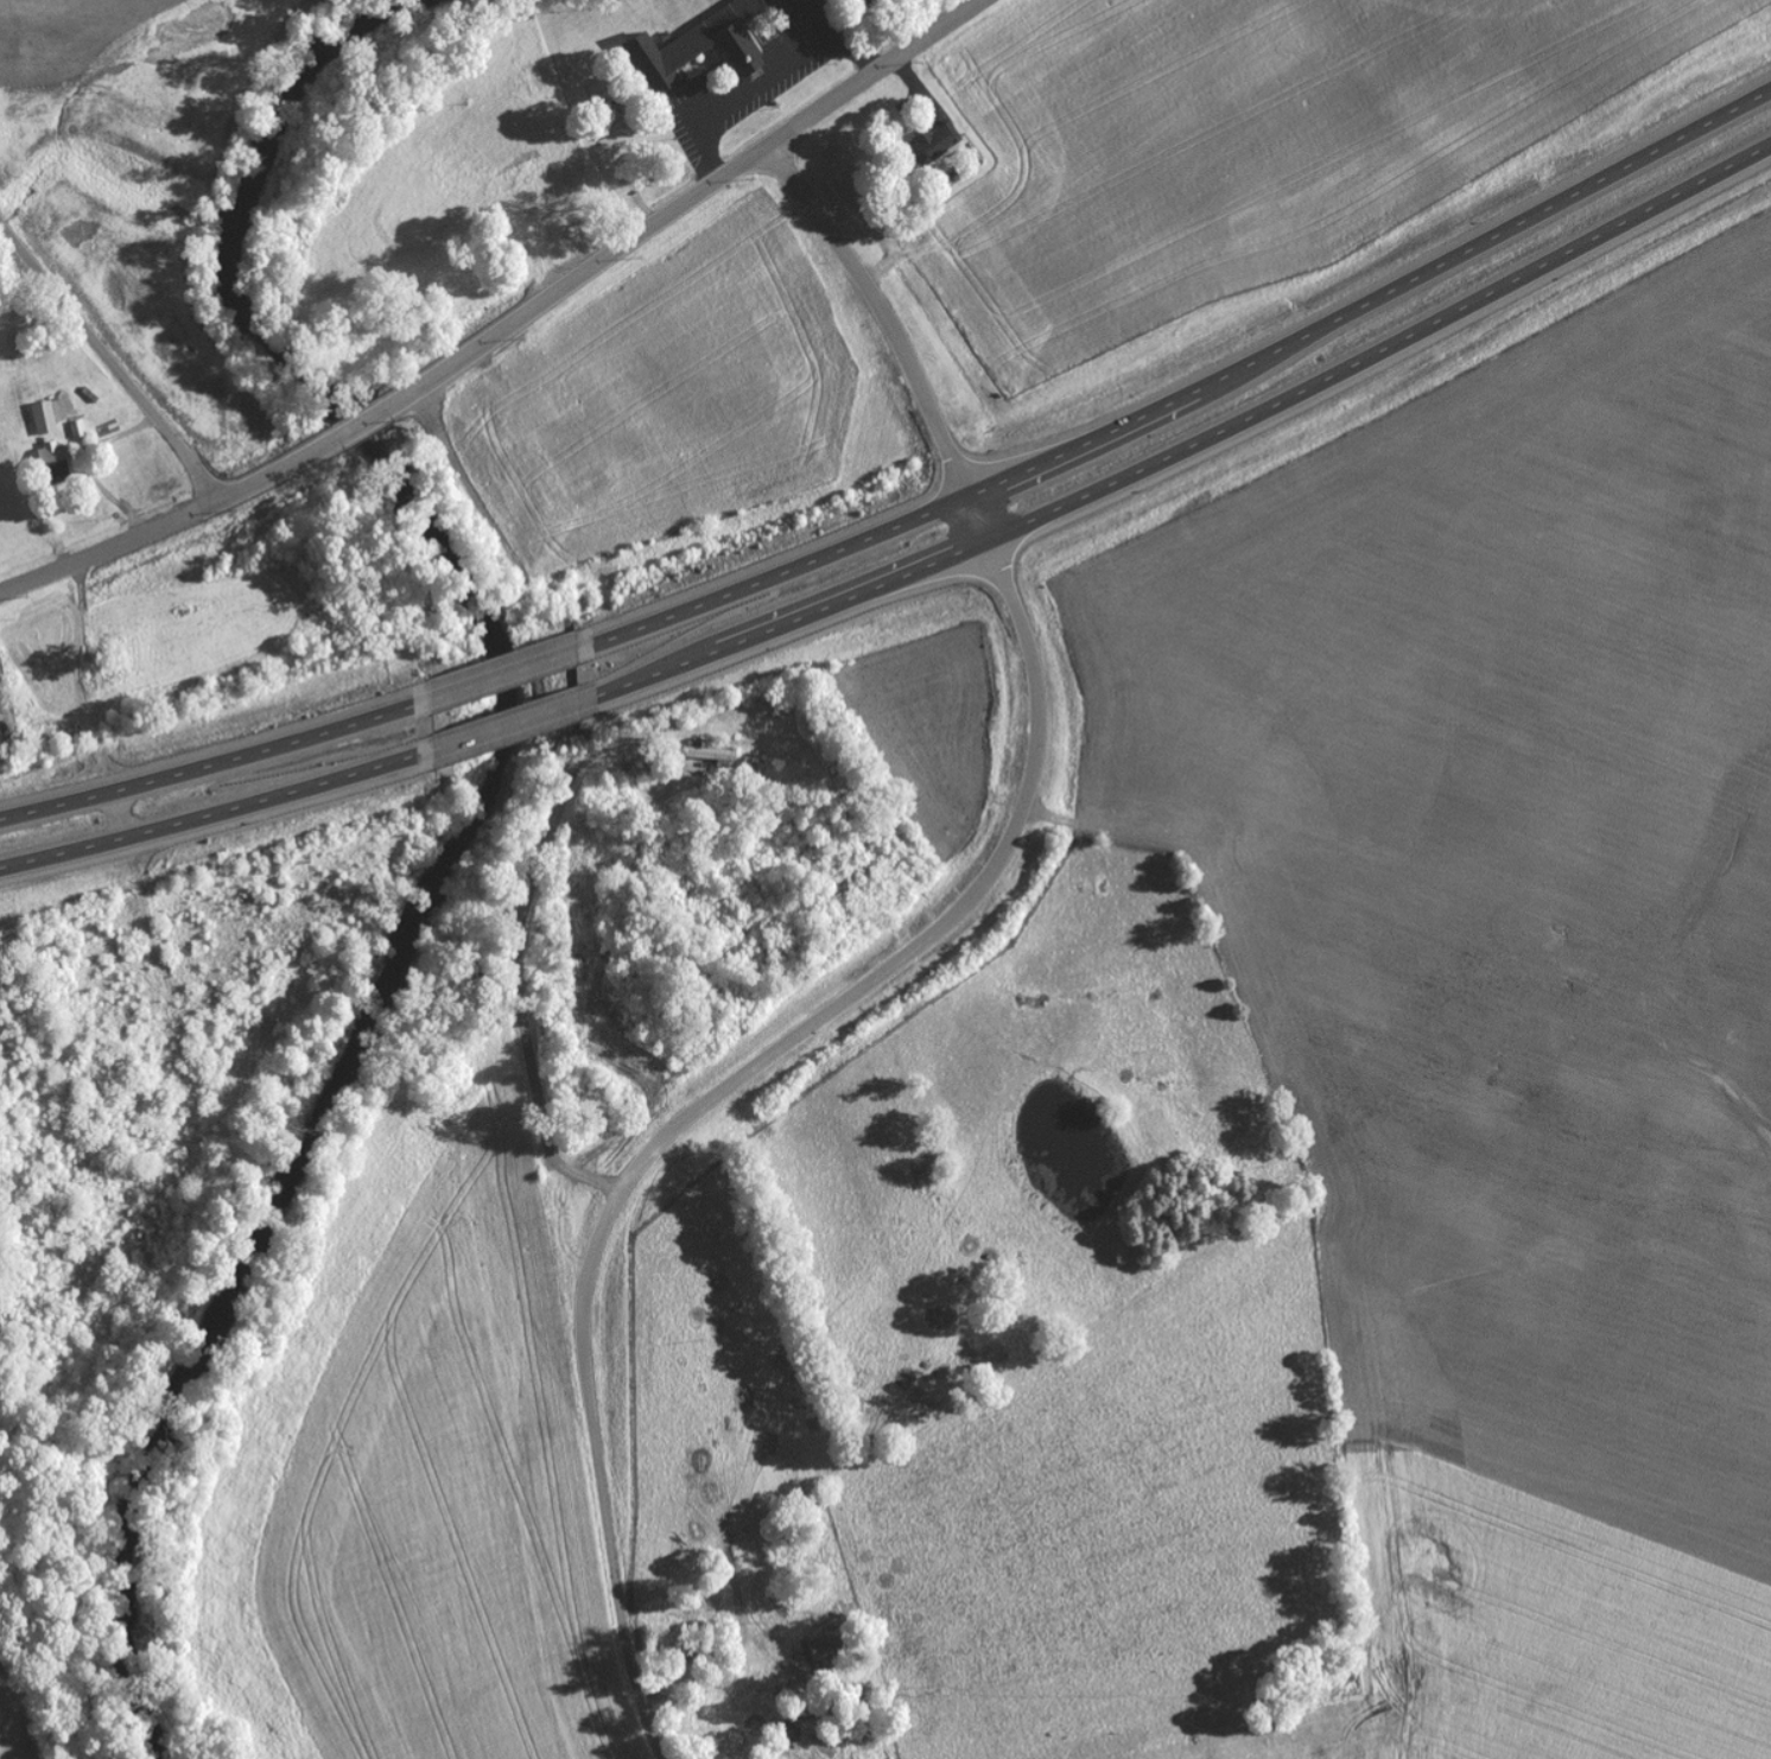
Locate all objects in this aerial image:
building: (705, 44)
road: (871, 71)
building: (938, 142)
road: (576, 278)
road: (109, 362)
road: (1192, 393)
road: (360, 426)
building: (78, 430)
road: (1194, 444)
building: (57, 463)
road: (278, 472)
road: (459, 482)
road: (109, 546)
road: (508, 673)
road: (513, 723)
building: (716, 756)
road: (214, 763)
road: (215, 814)
road: (891, 965)
road: (518, 999)
building: (830, 1651)

